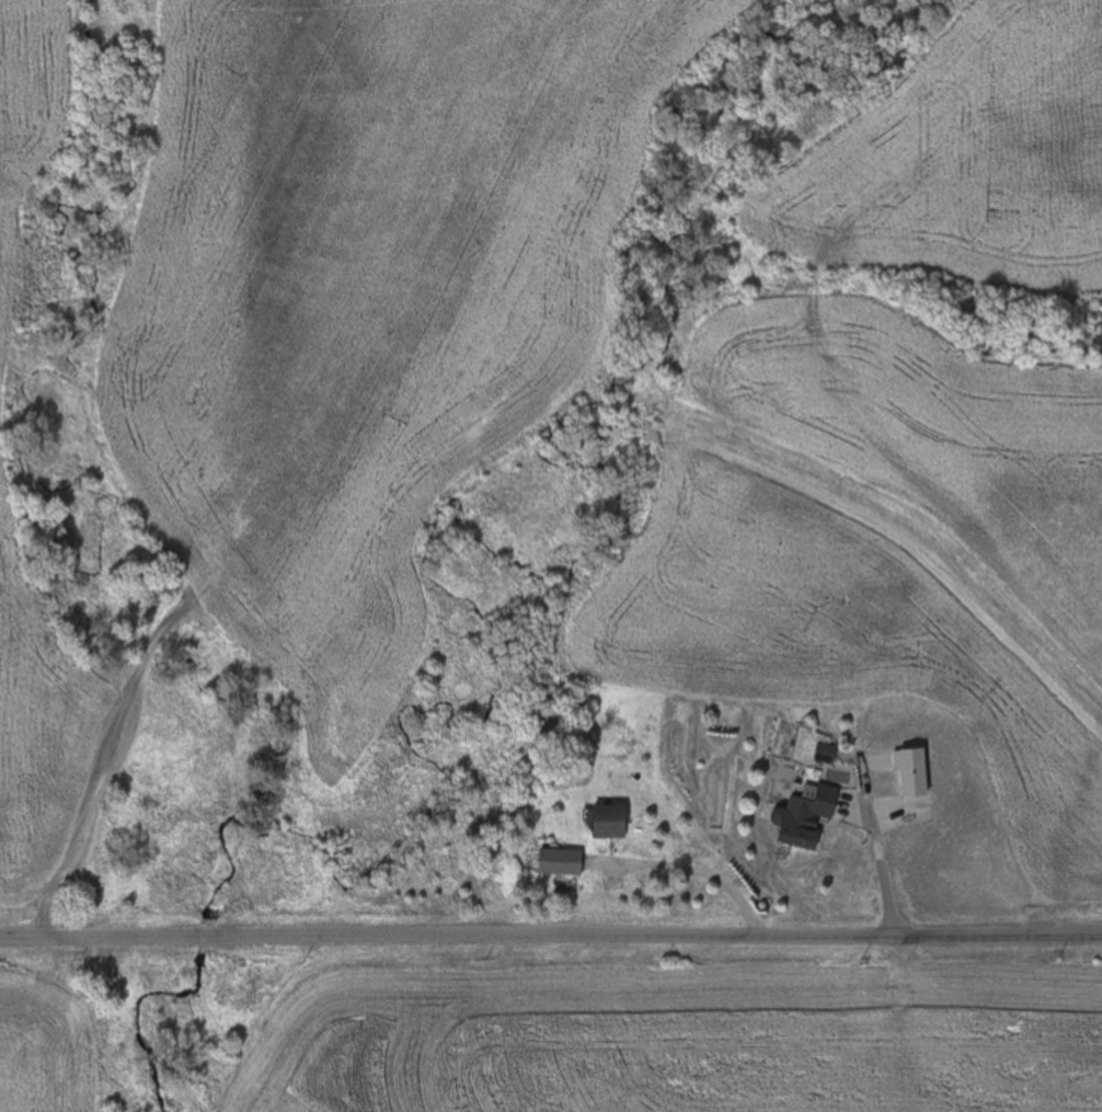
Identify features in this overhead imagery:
building: (827, 754)
building: (810, 812)
building: (610, 823)
road: (880, 852)
building: (561, 862)
road: (691, 872)
road: (551, 935)

